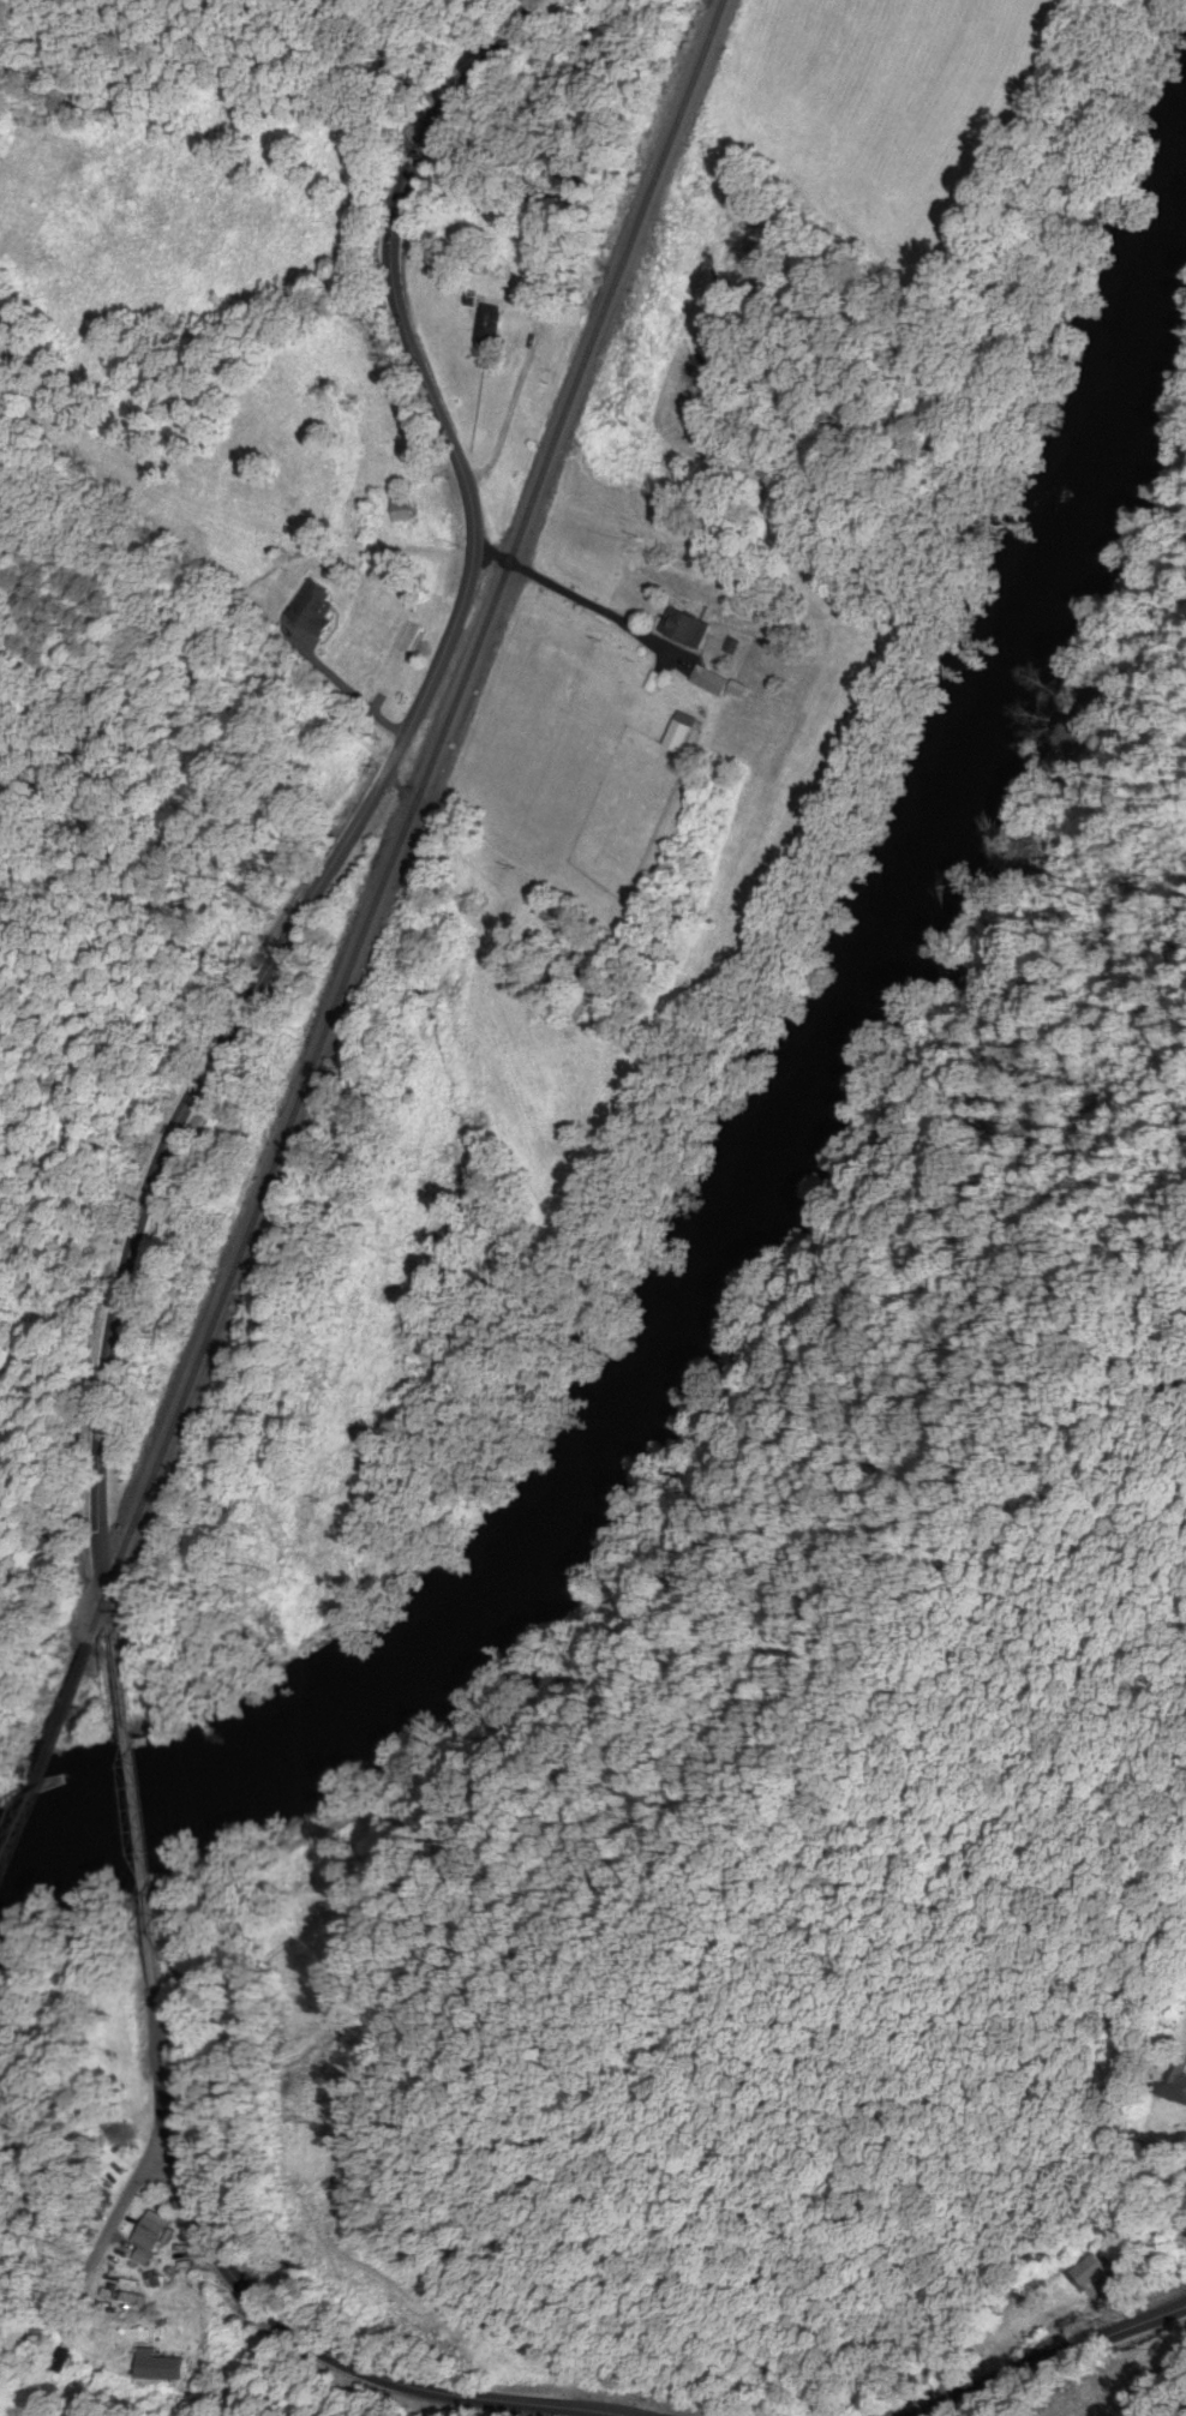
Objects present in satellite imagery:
building: (537, 407)
building: (405, 509)
building: (691, 629)
building: (715, 683)
building: (681, 737)
road: (391, 763)
railway: (378, 889)
river: (724, 1140)
road: (122, 1709)
railway: (16, 1816)
road: (413, 2219)
building: (155, 2231)
road: (96, 2258)
road: (239, 2282)
road: (1058, 2358)
building: (158, 2369)

